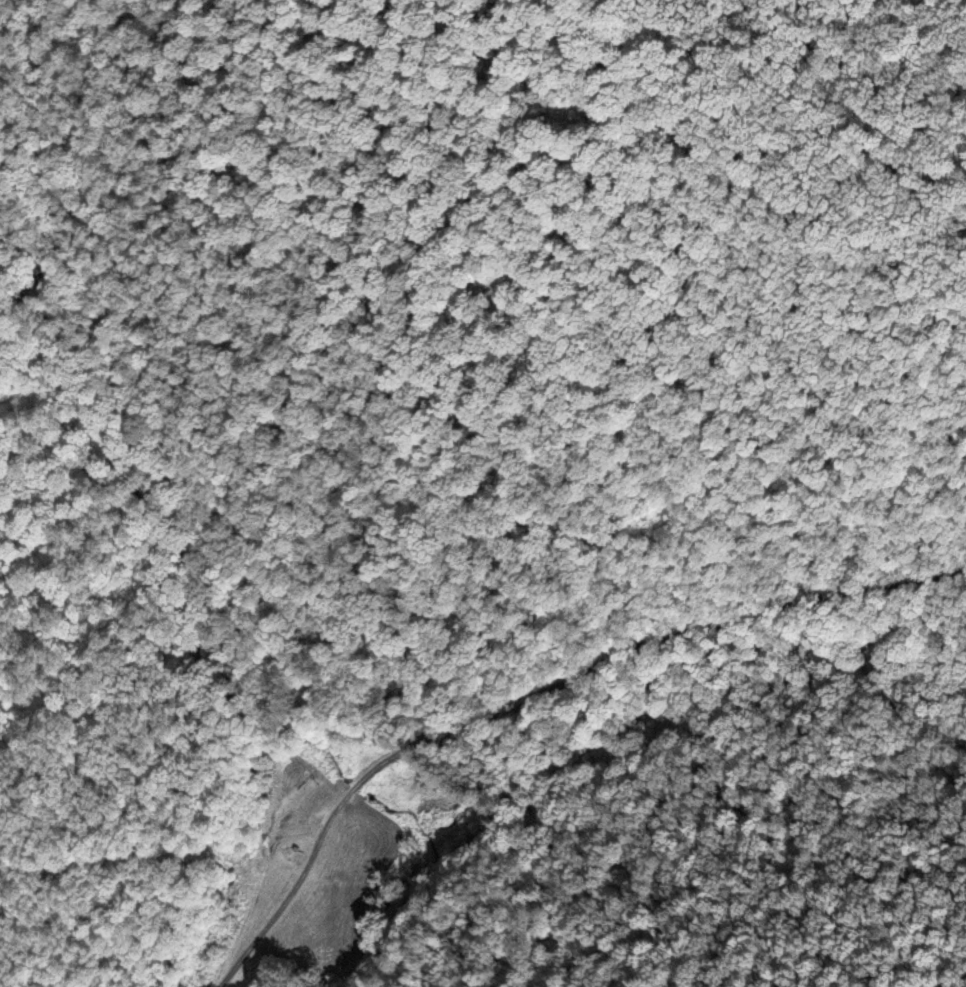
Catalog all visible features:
road: (534, 692)

